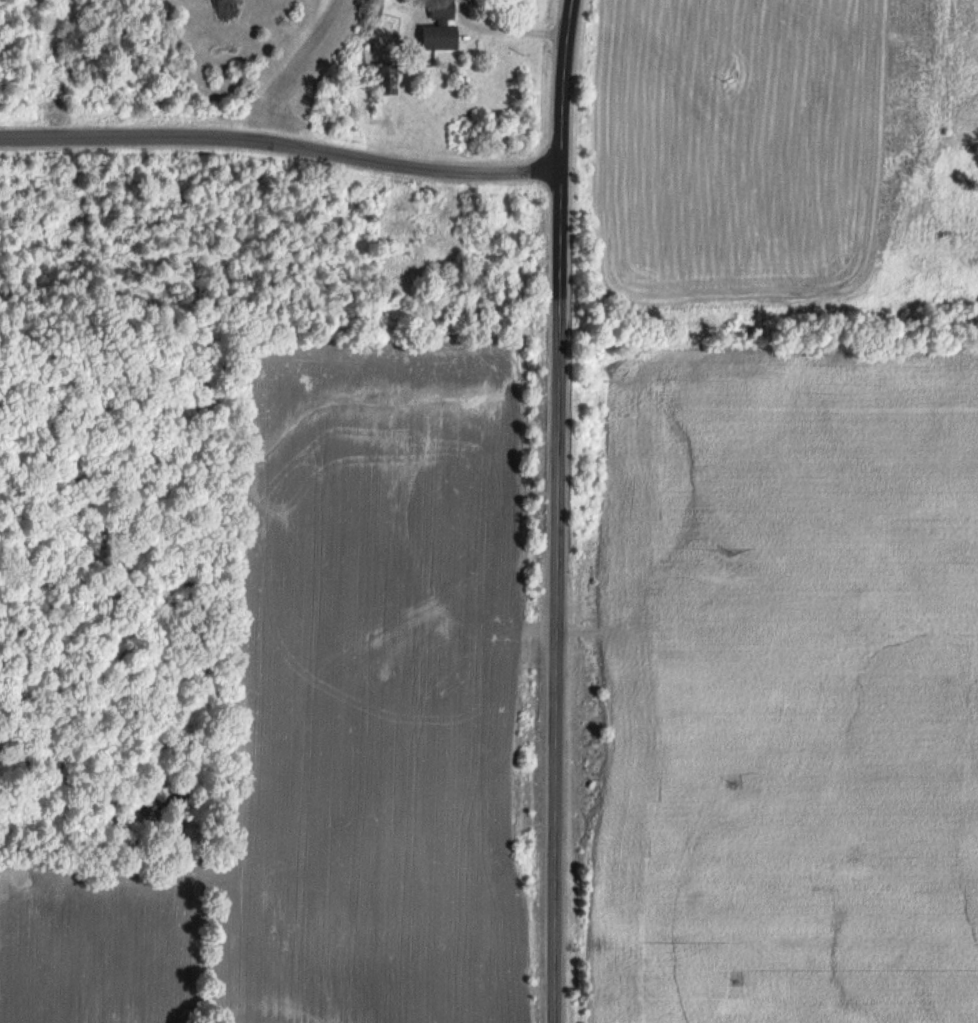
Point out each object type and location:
building: (438, 27)
road: (506, 30)
building: (383, 79)
road: (283, 145)
road: (559, 511)

